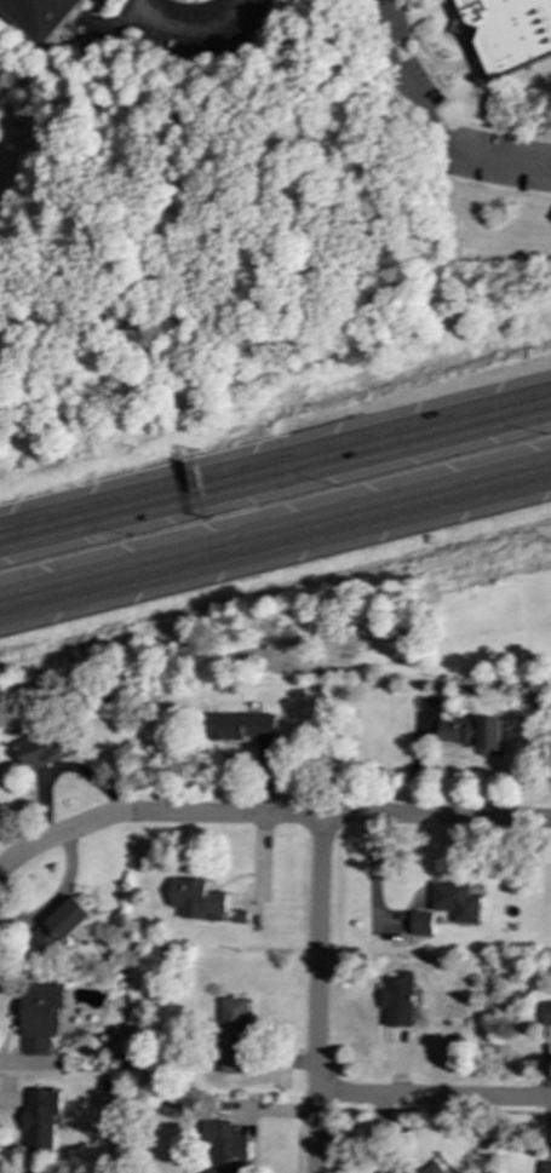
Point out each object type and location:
building: (39, 16)
building: (505, 30)
road: (186, 36)
road: (430, 122)
road: (275, 468)
road: (275, 537)
building: (240, 726)
building: (471, 734)
building: (45, 748)
road: (315, 817)
road: (38, 845)
building: (194, 898)
building: (453, 901)
building: (61, 924)
building: (419, 924)
road: (316, 995)
building: (398, 1000)
building: (546, 1014)
building: (40, 1017)
building: (230, 1035)
road: (432, 1097)
building: (40, 1119)
building: (222, 1148)
building: (545, 1167)
building: (430, 1168)

